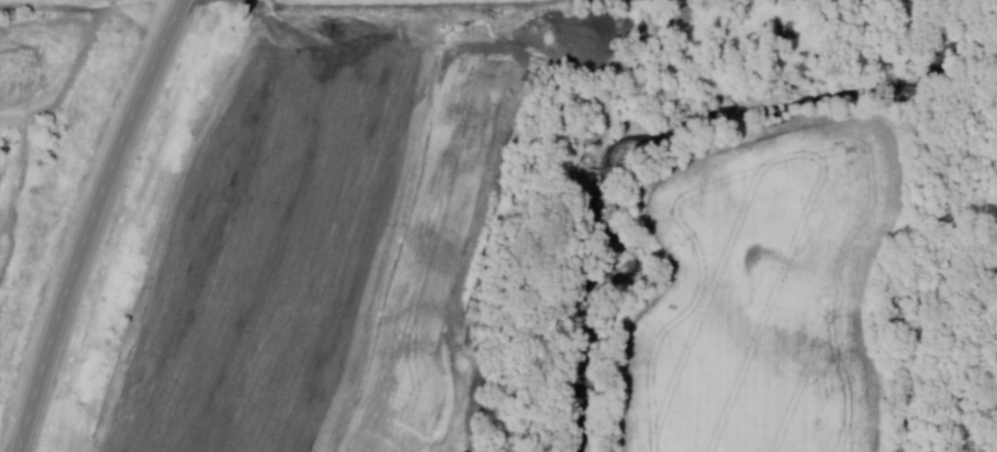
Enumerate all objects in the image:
crop: (25, 53)
crop: (0, 179)
road: (93, 222)

